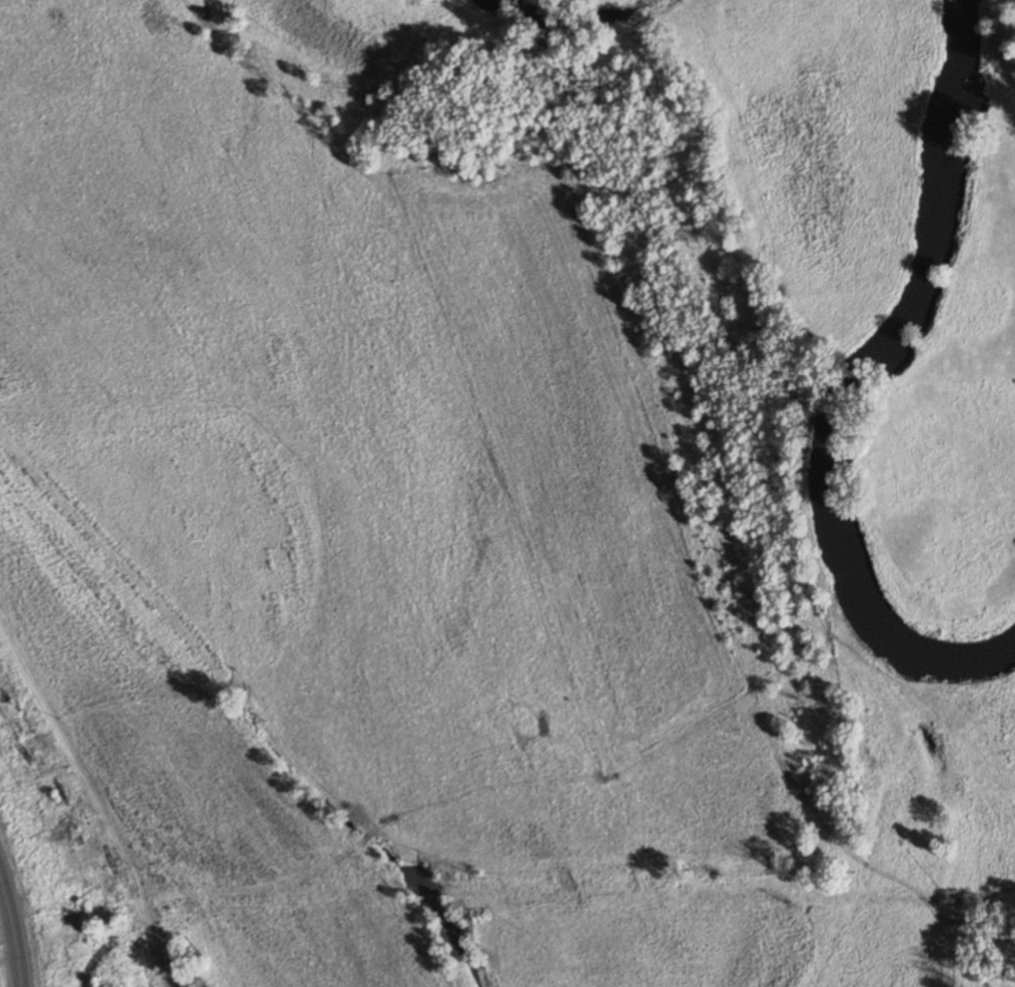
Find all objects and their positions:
river: (856, 377)
road: (14, 926)

